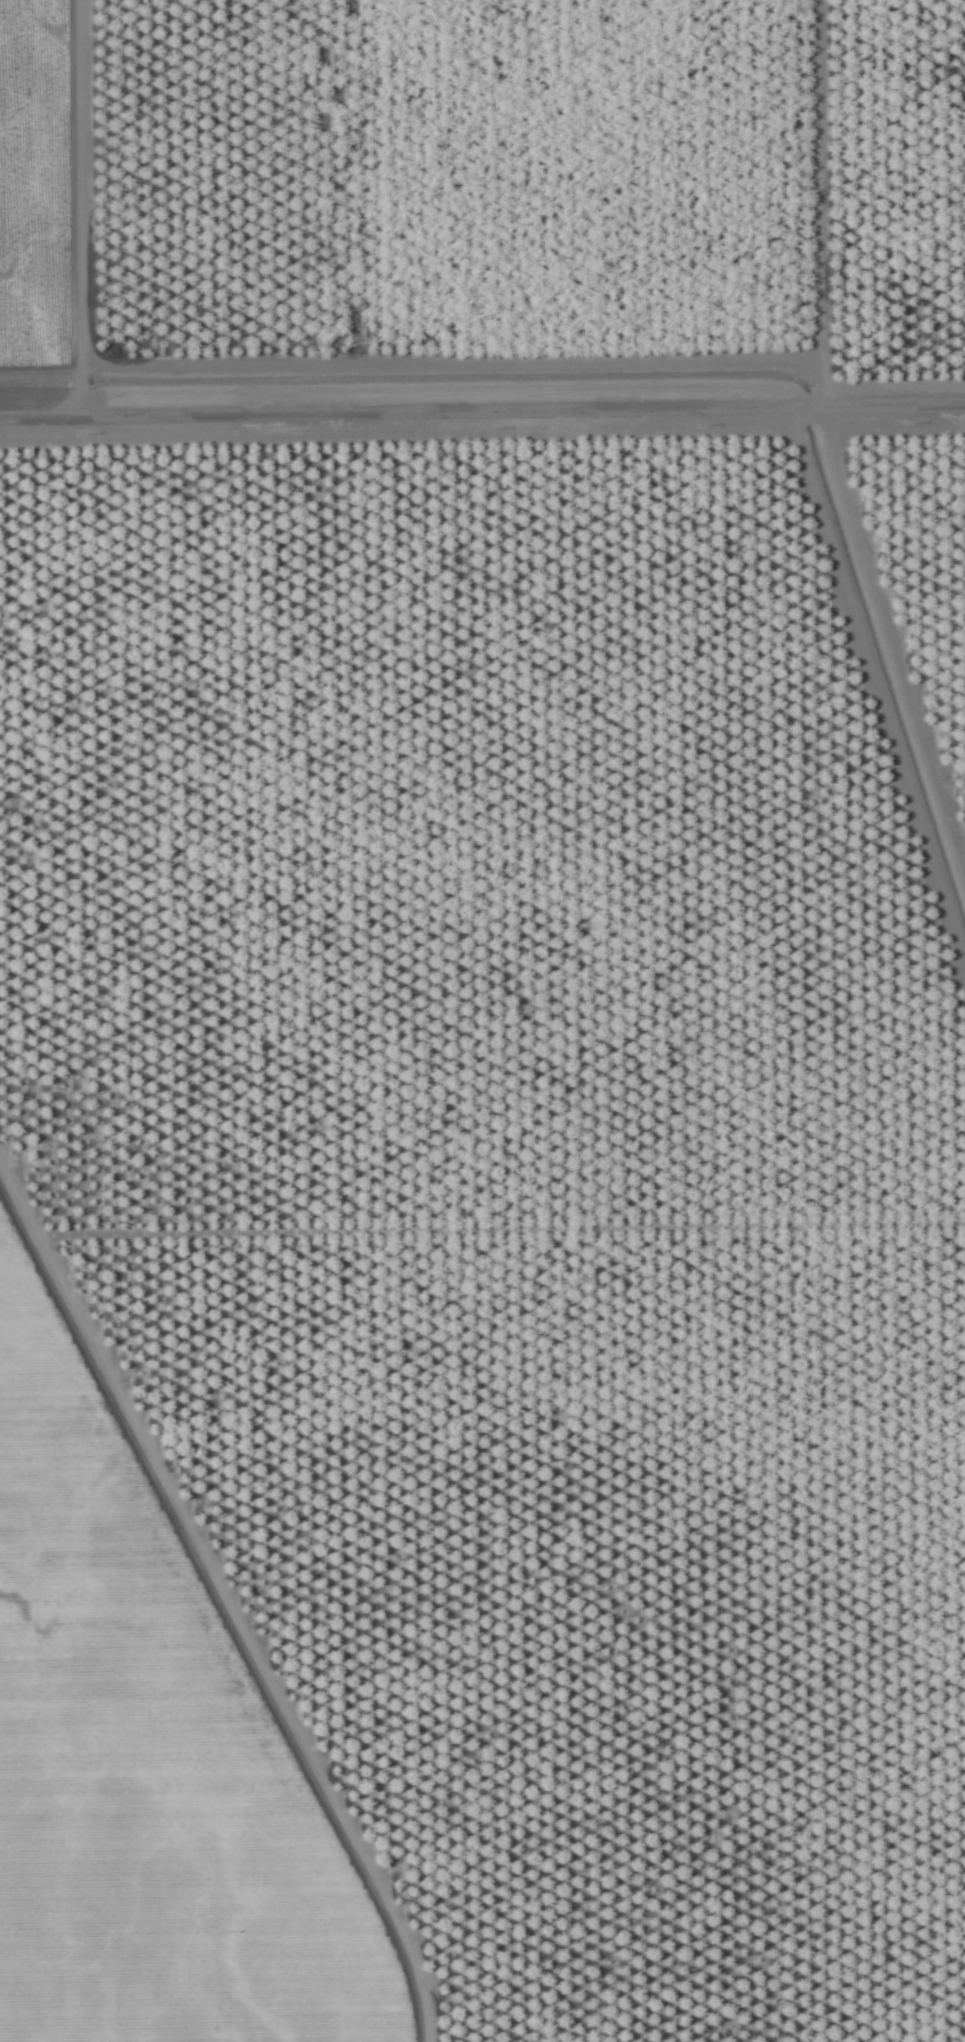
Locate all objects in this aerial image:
road: (482, 402)
crop: (482, 1021)
building: (769, 1311)

